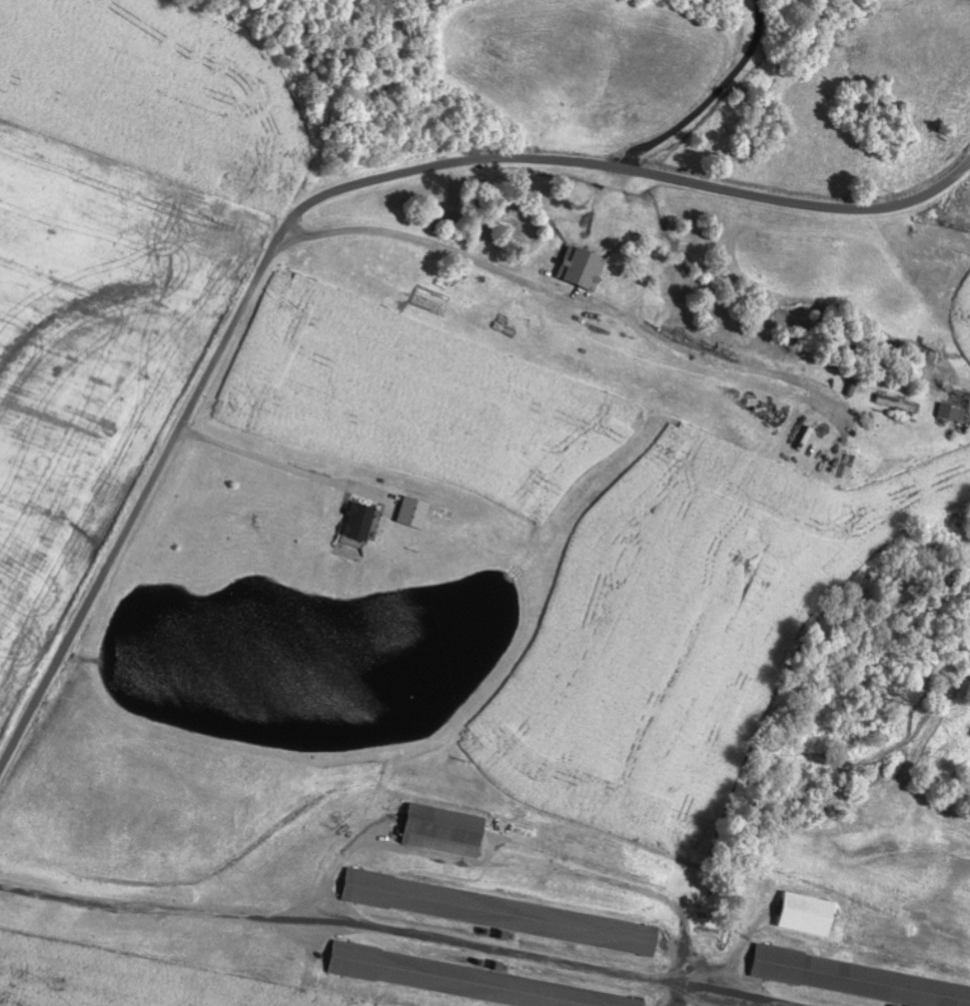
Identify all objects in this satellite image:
road: (326, 197)
building: (584, 269)
building: (953, 413)
building: (416, 513)
building: (361, 522)
building: (446, 831)
building: (502, 914)
building: (808, 915)
building: (858, 981)
building: (470, 982)

